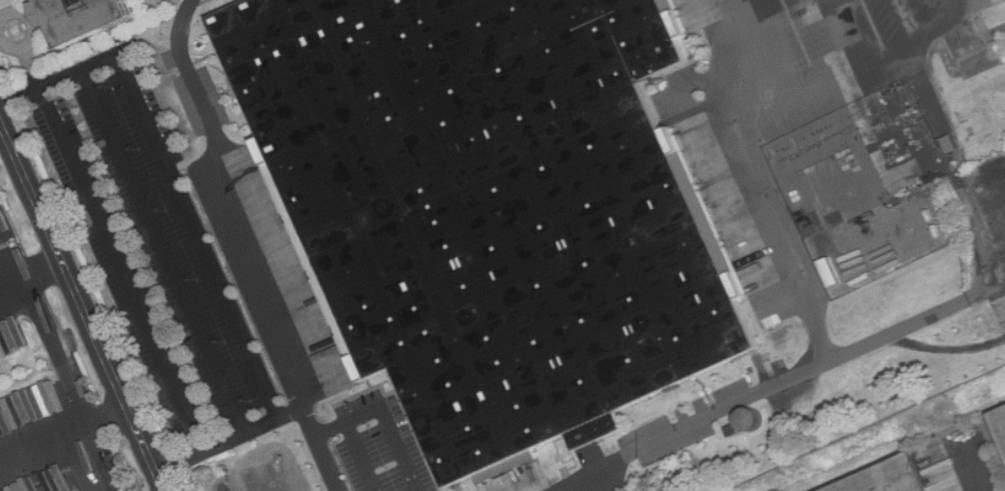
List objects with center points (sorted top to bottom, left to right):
building: (88, 17)
road: (34, 29)
road: (847, 31)
road: (756, 50)
road: (709, 88)
road: (765, 149)
road: (745, 151)
road: (787, 151)
road: (935, 158)
road: (172, 175)
building: (485, 203)
road: (113, 247)
road: (241, 248)
road: (164, 249)
road: (31, 271)
road: (83, 304)
road: (930, 313)
road: (52, 344)
road: (386, 417)
building: (1001, 419)
road: (229, 437)
road: (43, 438)
road: (365, 456)
road: (81, 459)
road: (973, 467)
building: (893, 478)

